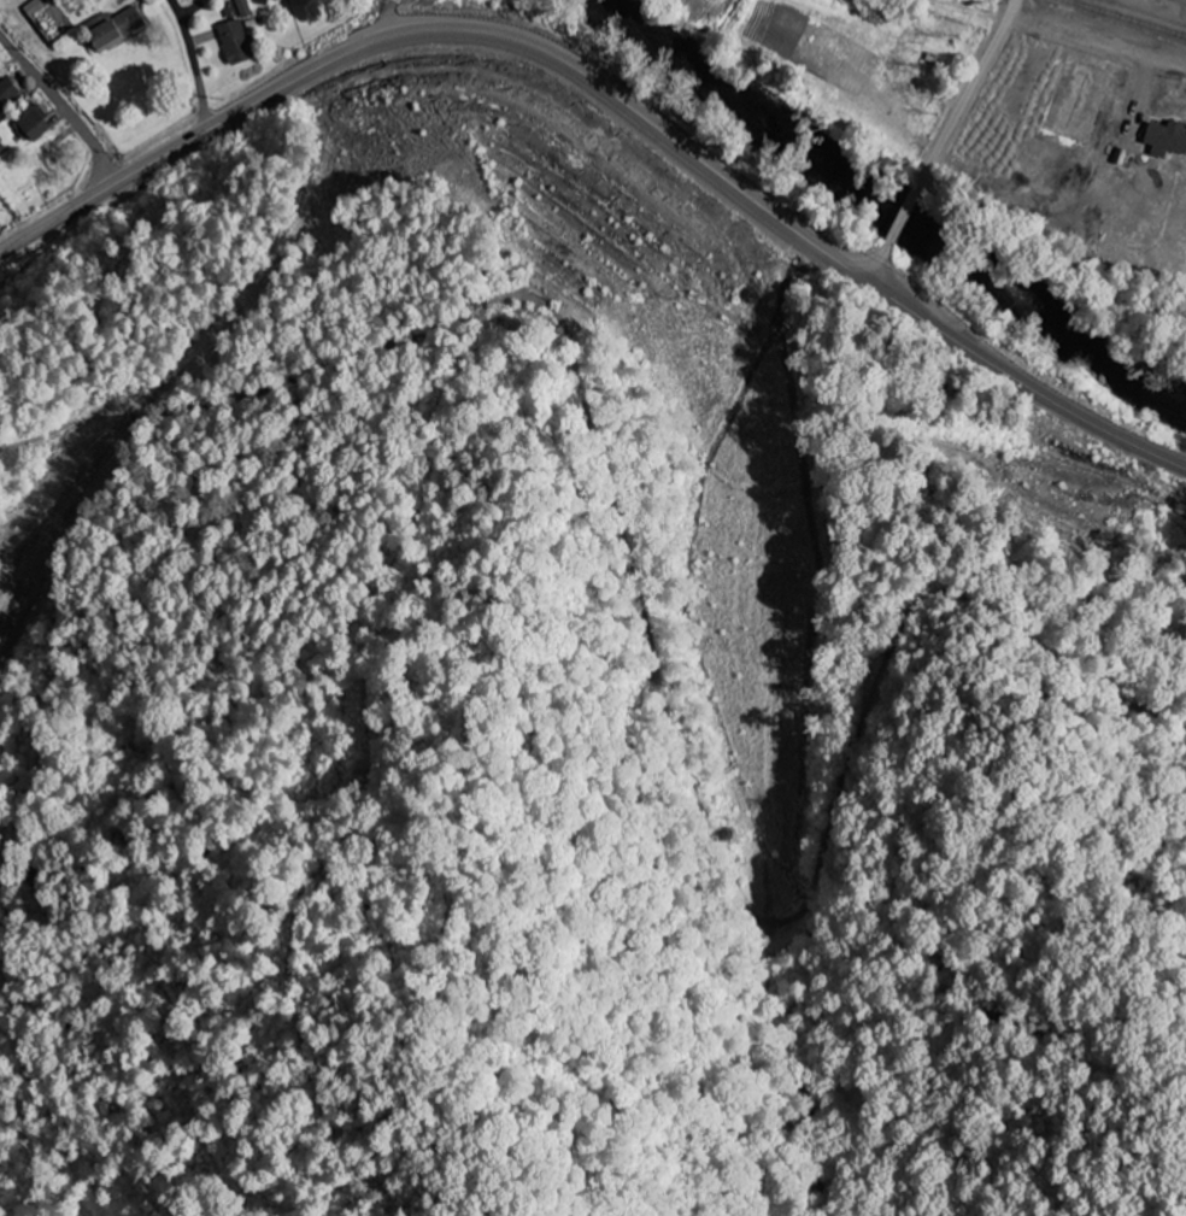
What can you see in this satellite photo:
building: (275, 0)
building: (37, 6)
building: (243, 8)
railway: (1127, 17)
building: (116, 28)
building: (236, 42)
road: (192, 64)
road: (612, 86)
road: (970, 87)
building: (8, 93)
road: (58, 108)
building: (33, 125)
building: (1168, 139)
river: (889, 205)
road: (905, 208)
building: (0, 210)
road: (873, 259)

